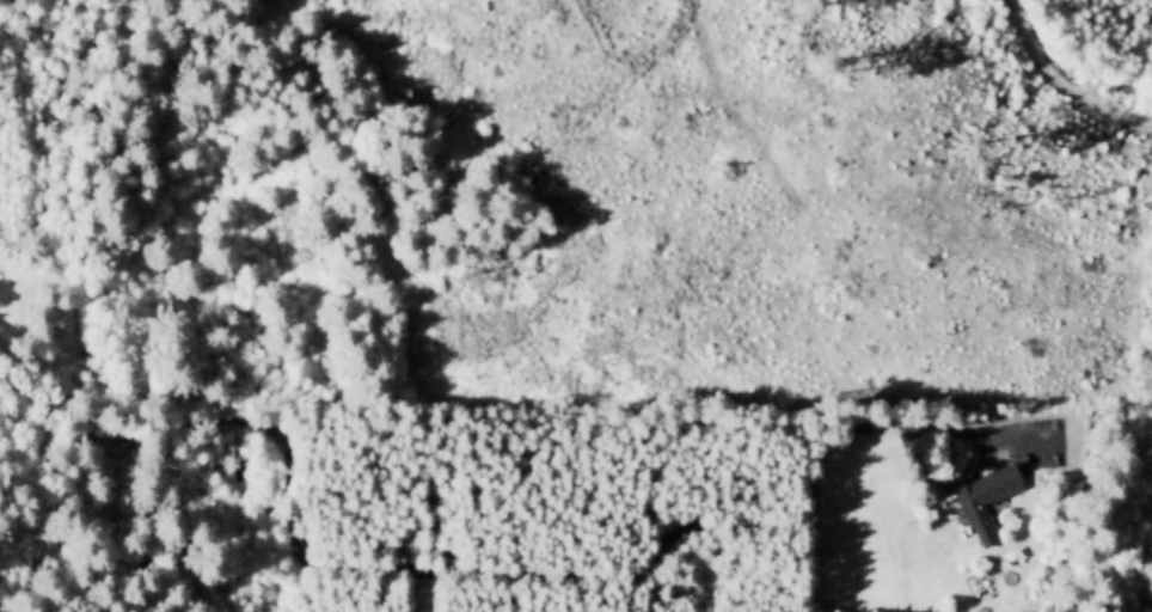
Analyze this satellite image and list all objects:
road: (1066, 79)
building: (979, 495)
road: (466, 568)

